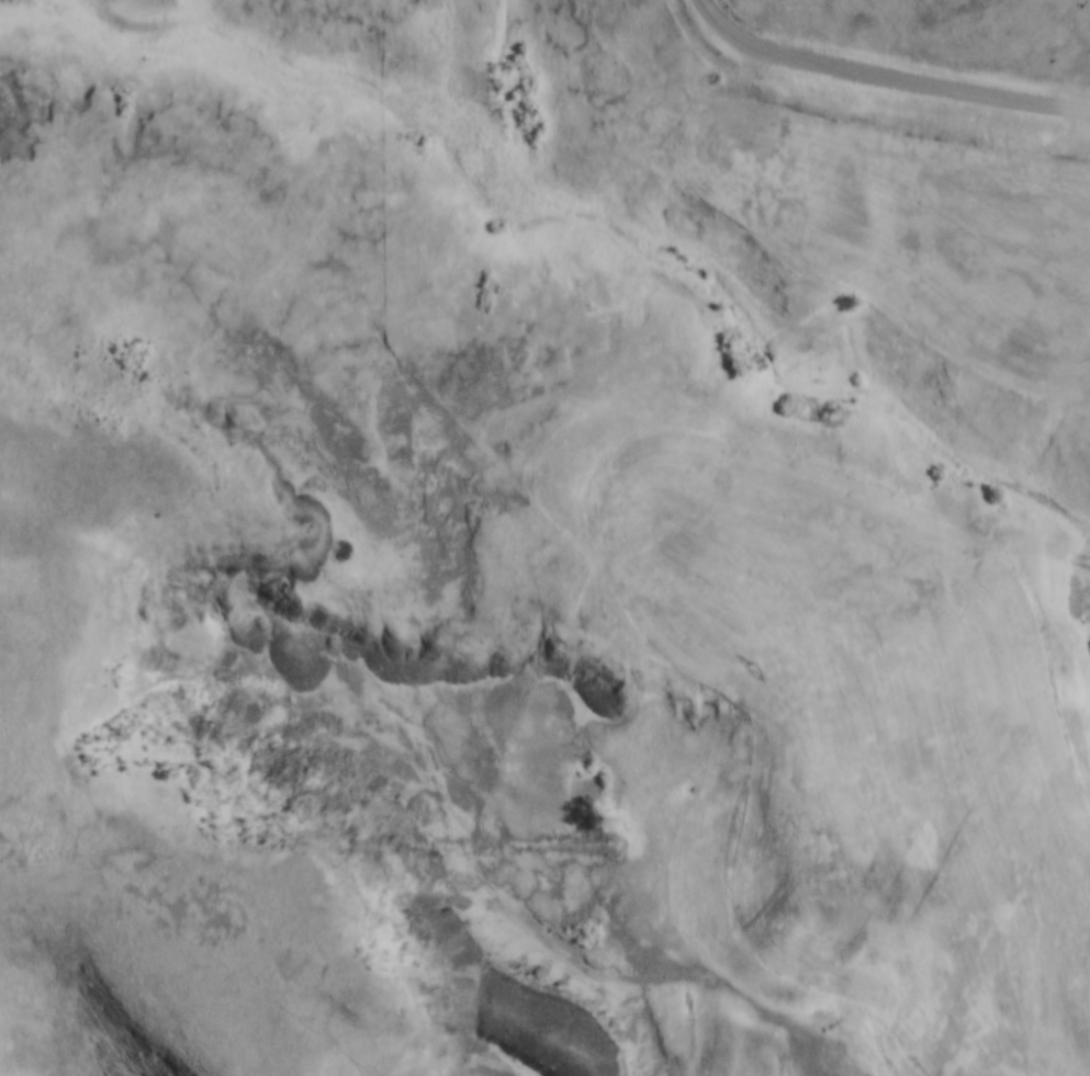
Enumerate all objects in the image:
road: (885, 75)

